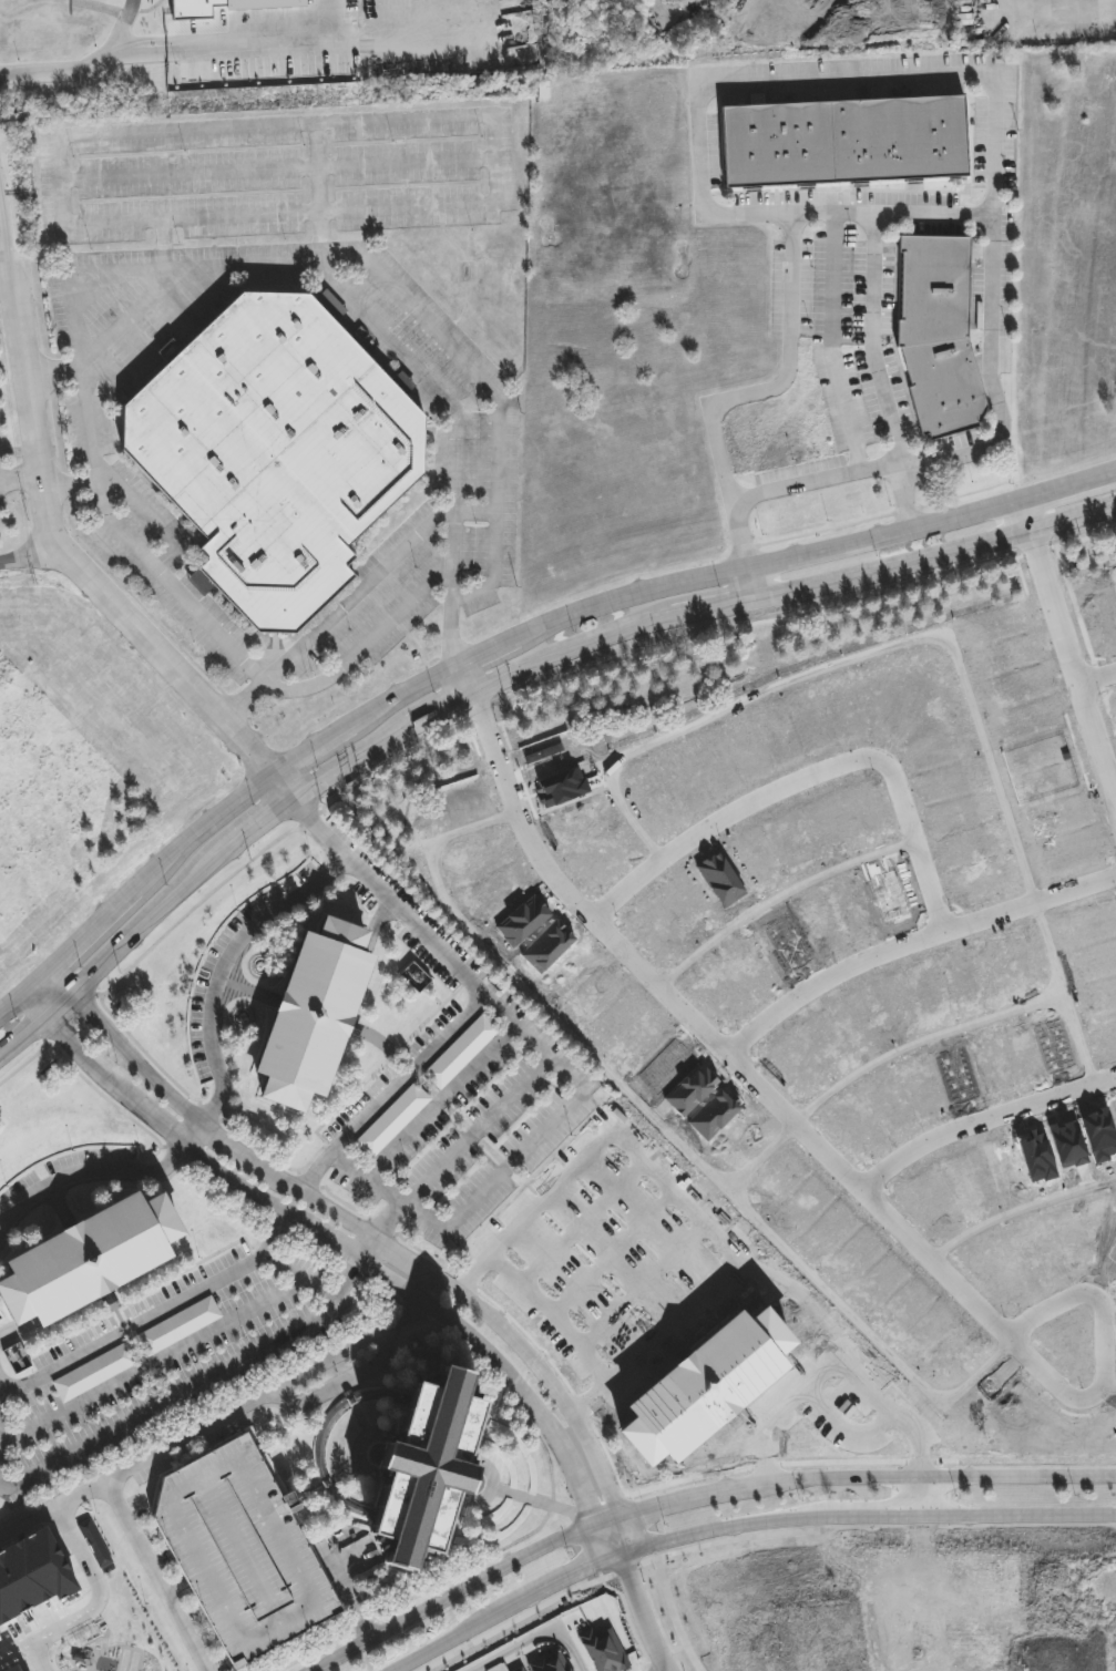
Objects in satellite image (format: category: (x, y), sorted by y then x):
road: (85, 68)
road: (808, 80)
road: (402, 121)
building: (847, 143)
parking lot: (277, 177)
road: (317, 187)
road: (889, 213)
road: (68, 218)
road: (2, 248)
road: (137, 316)
building: (941, 329)
road: (874, 340)
road: (841, 342)
road: (495, 394)
road: (34, 412)
road: (458, 430)
building: (276, 448)
road: (23, 478)
parking lot: (2, 479)
road: (813, 479)
road: (75, 488)
road: (478, 509)
road: (129, 540)
road: (744, 572)
road: (340, 609)
road: (505, 623)
road: (158, 645)
road: (365, 645)
road: (1067, 646)
road: (857, 657)
road: (463, 667)
road: (505, 669)
road: (1097, 678)
building: (1092, 719)
building: (918, 785)
road: (726, 820)
road: (917, 843)
building: (1076, 882)
road: (778, 900)
road: (910, 946)
building: (418, 977)
building: (313, 1009)
road: (965, 1026)
road: (1081, 1040)
building: (461, 1052)
road: (221, 1086)
road: (392, 1088)
building: (393, 1119)
road: (426, 1120)
road: (982, 1121)
road: (672, 1134)
road: (819, 1148)
road: (764, 1159)
road: (512, 1162)
road: (434, 1171)
road: (386, 1191)
road: (349, 1212)
road: (1020, 1212)
road: (342, 1249)
building: (89, 1257)
road: (301, 1274)
road: (152, 1315)
building: (180, 1325)
road: (328, 1360)
road: (154, 1363)
building: (95, 1372)
building: (706, 1385)
road: (1110, 1388)
road: (180, 1438)
building: (318, 1452)
building: (422, 1463)
road: (3, 1485)
road: (924, 1495)
road: (697, 1498)
road: (30, 1523)
road: (738, 1527)
building: (240, 1548)
parking garage: (240, 1548)
road: (96, 1572)
building: (32, 1575)
road: (175, 1587)
road: (350, 1593)
road: (642, 1597)
road: (672, 1611)
road: (511, 1623)
road: (541, 1640)
building: (549, 1661)
building: (10, 1667)
building: (518, 1669)
road: (674, 1670)

